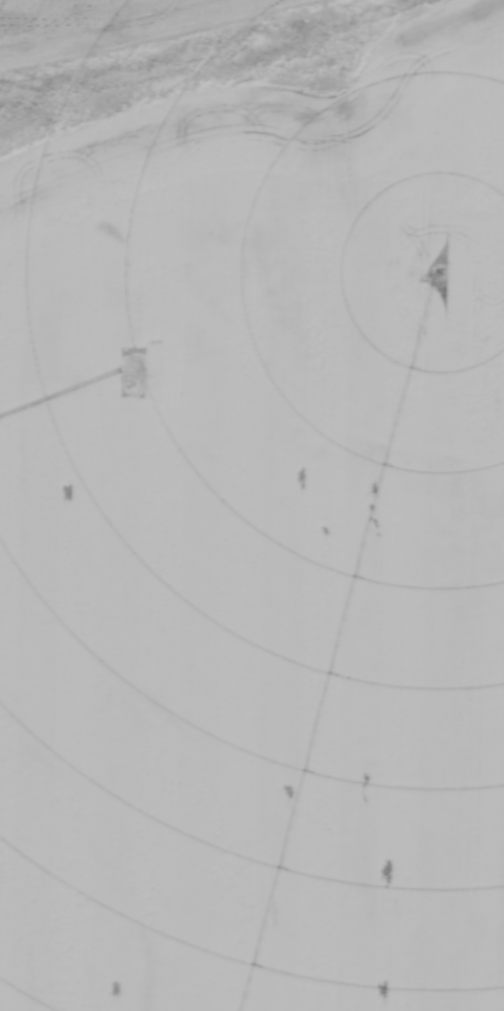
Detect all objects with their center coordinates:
crop: (258, 545)

